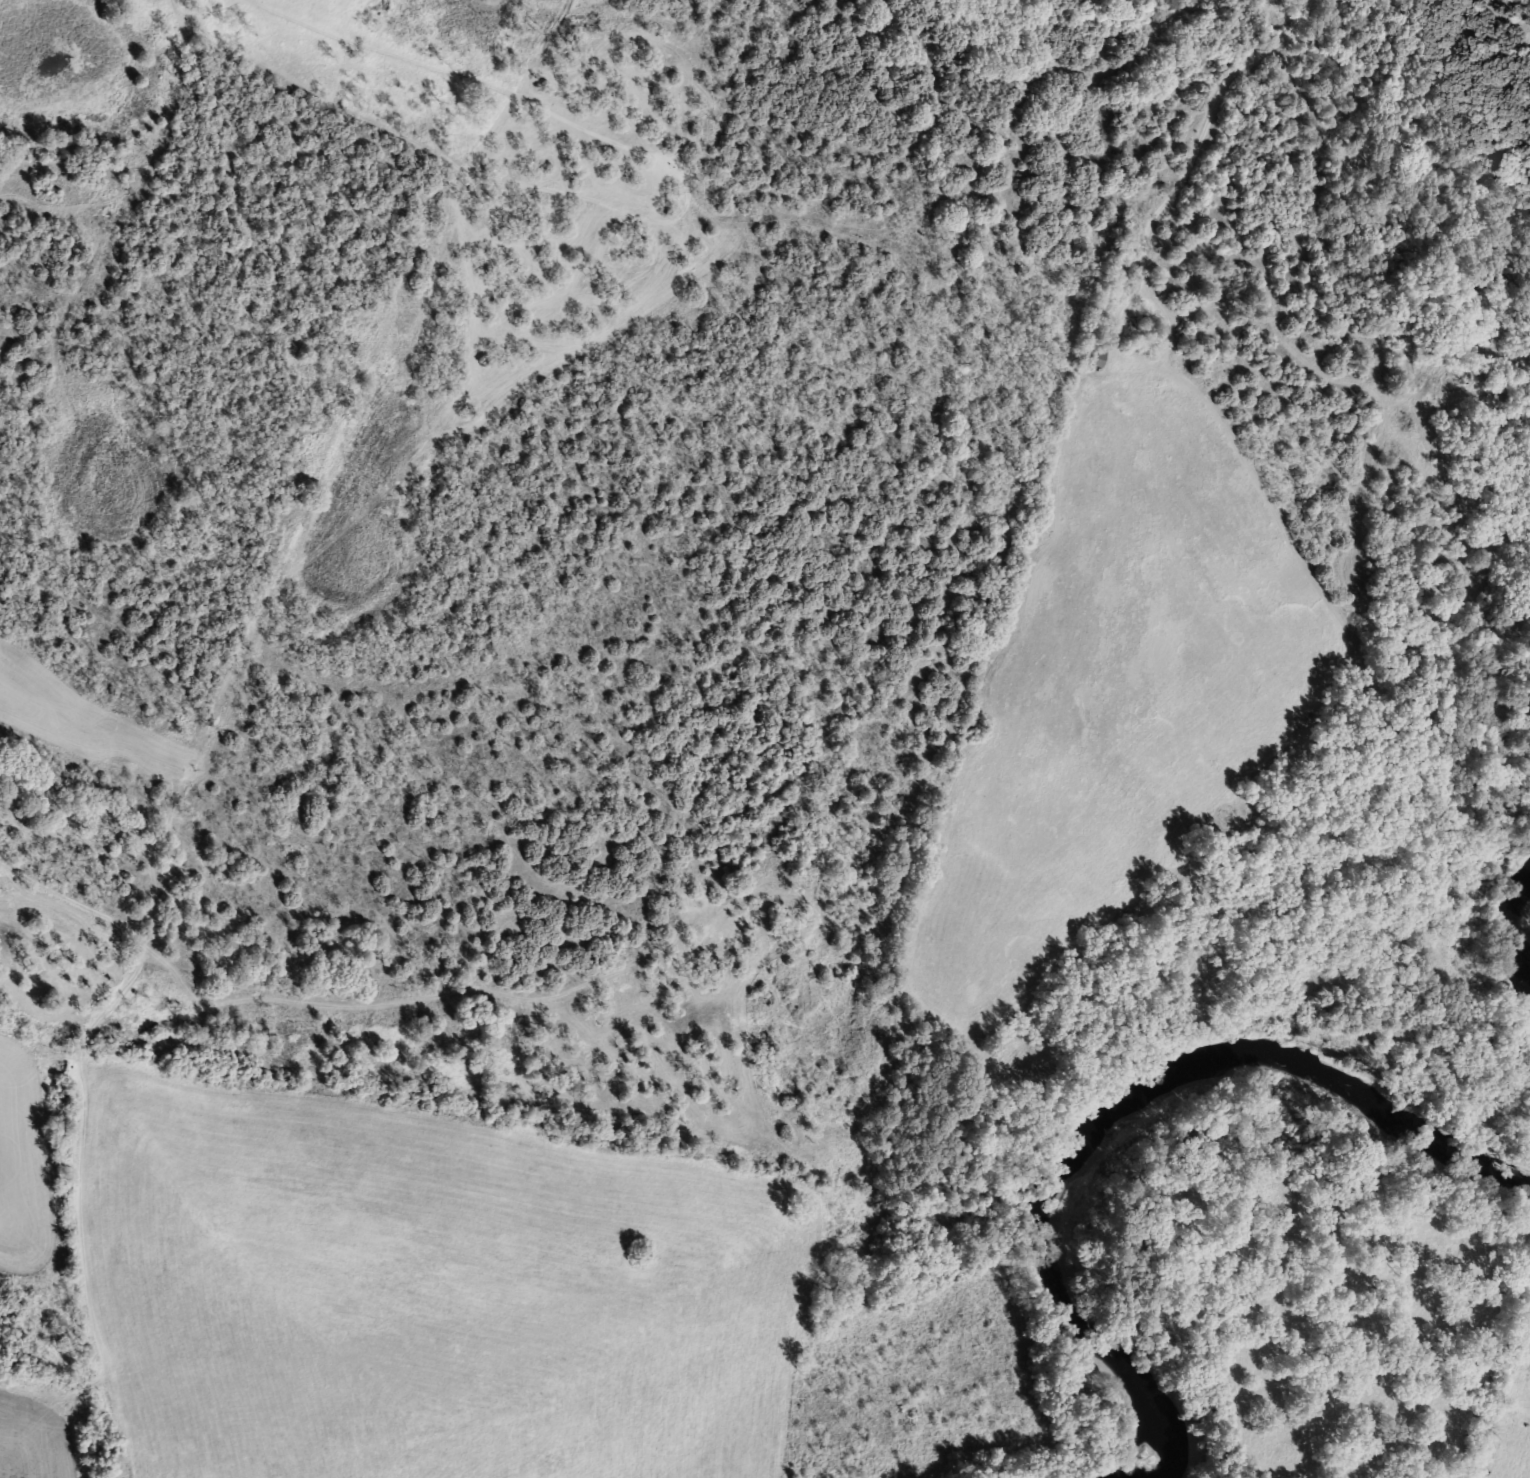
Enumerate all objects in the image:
building: (1097, 357)
road: (1037, 383)
river: (1133, 1114)

